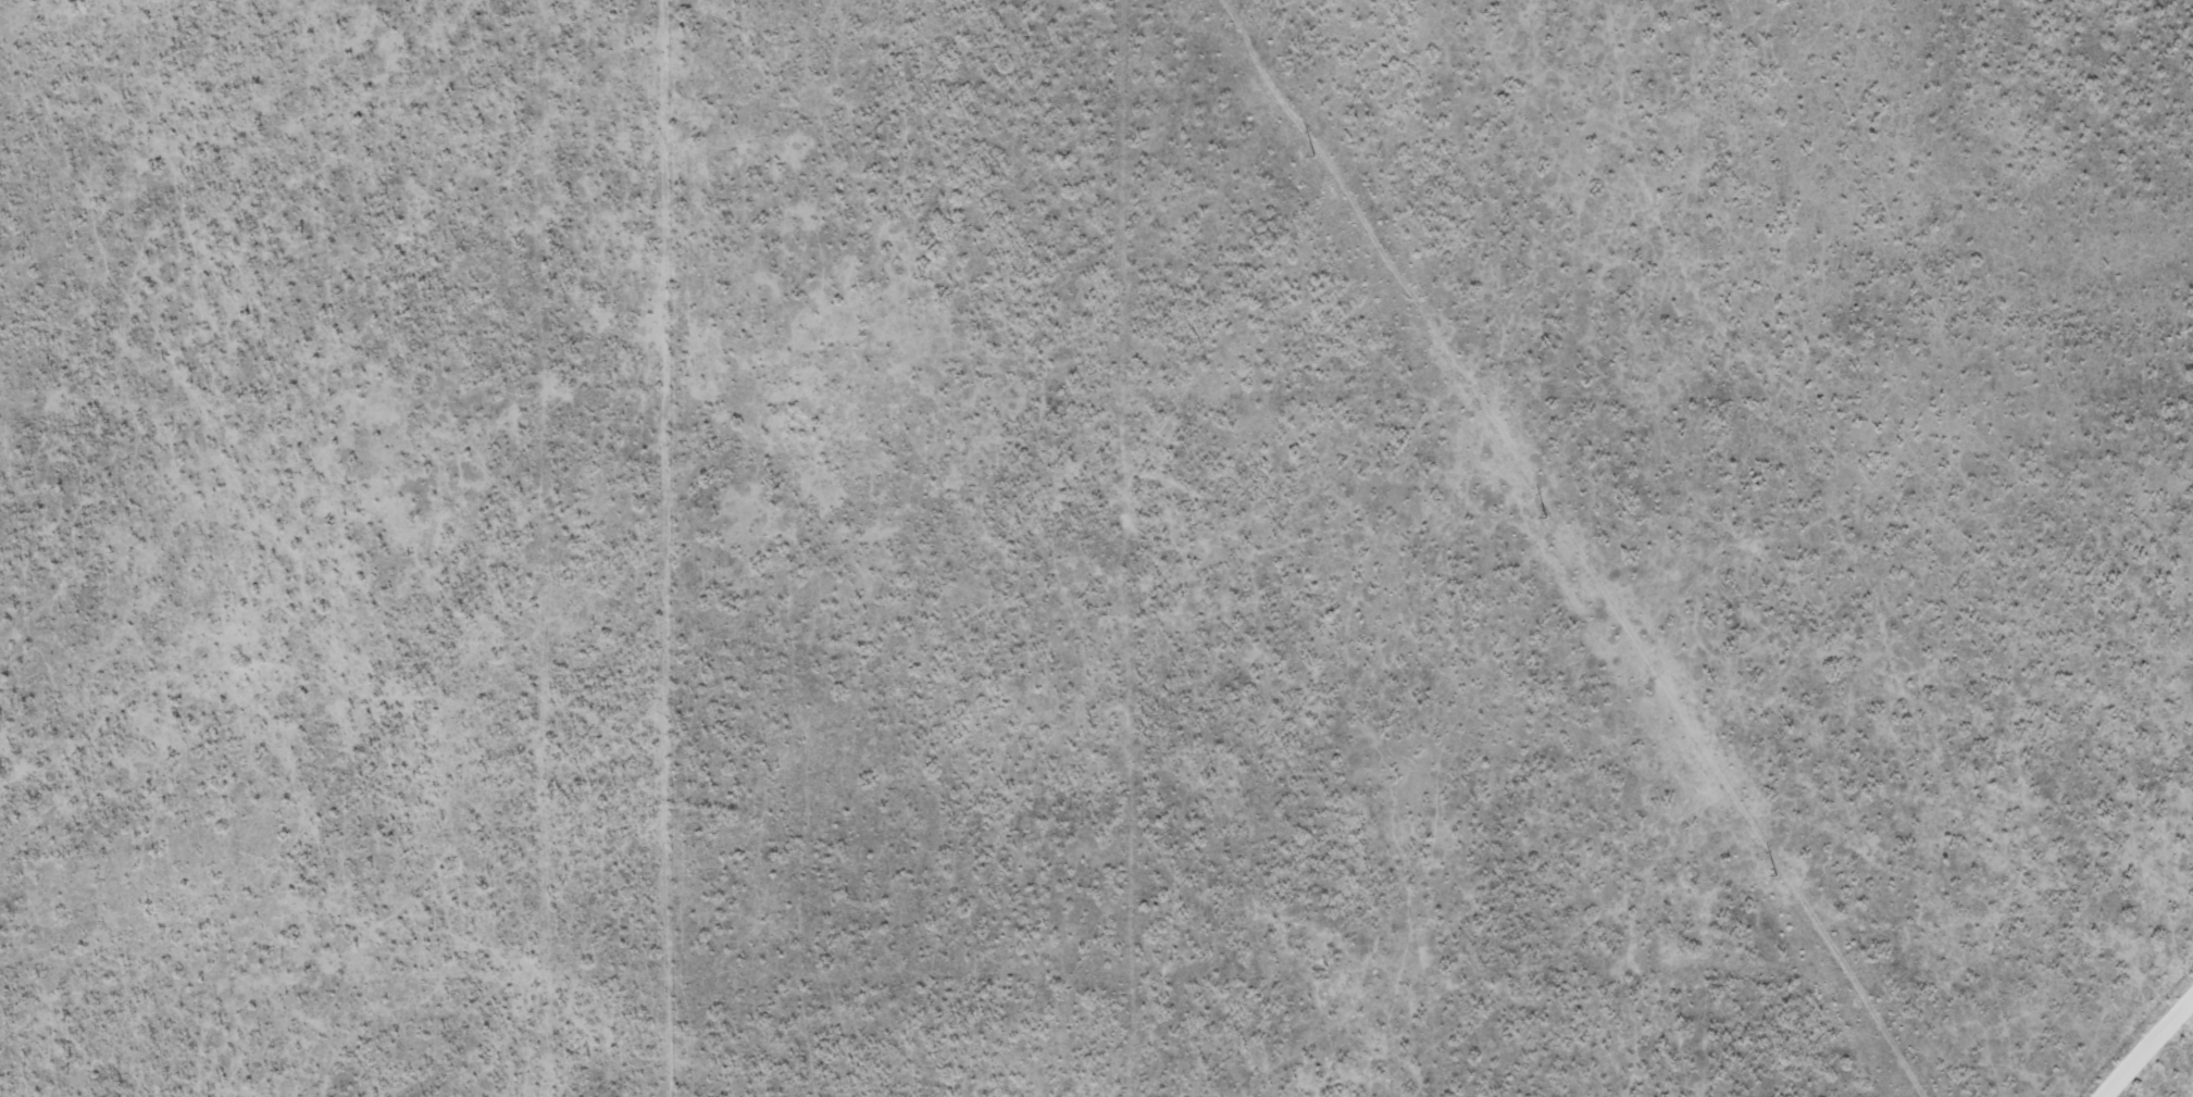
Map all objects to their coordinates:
road: (2179, 1082)

